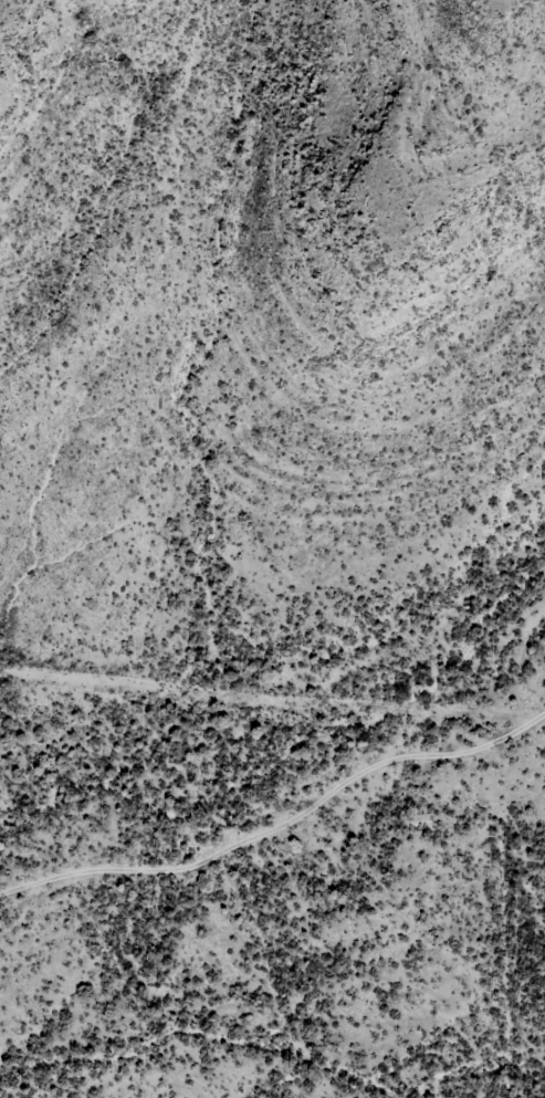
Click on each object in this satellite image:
road: (280, 824)

